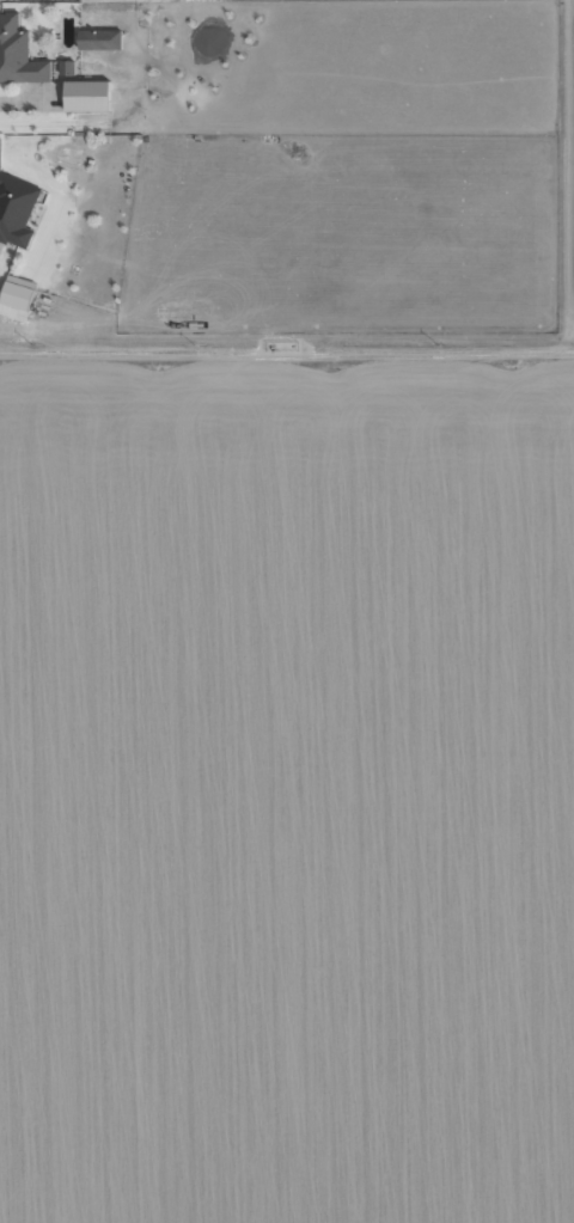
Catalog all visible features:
building: (99, 39)
building: (18, 54)
building: (66, 67)
building: (86, 96)
building: (16, 210)
building: (17, 292)
road: (287, 346)

